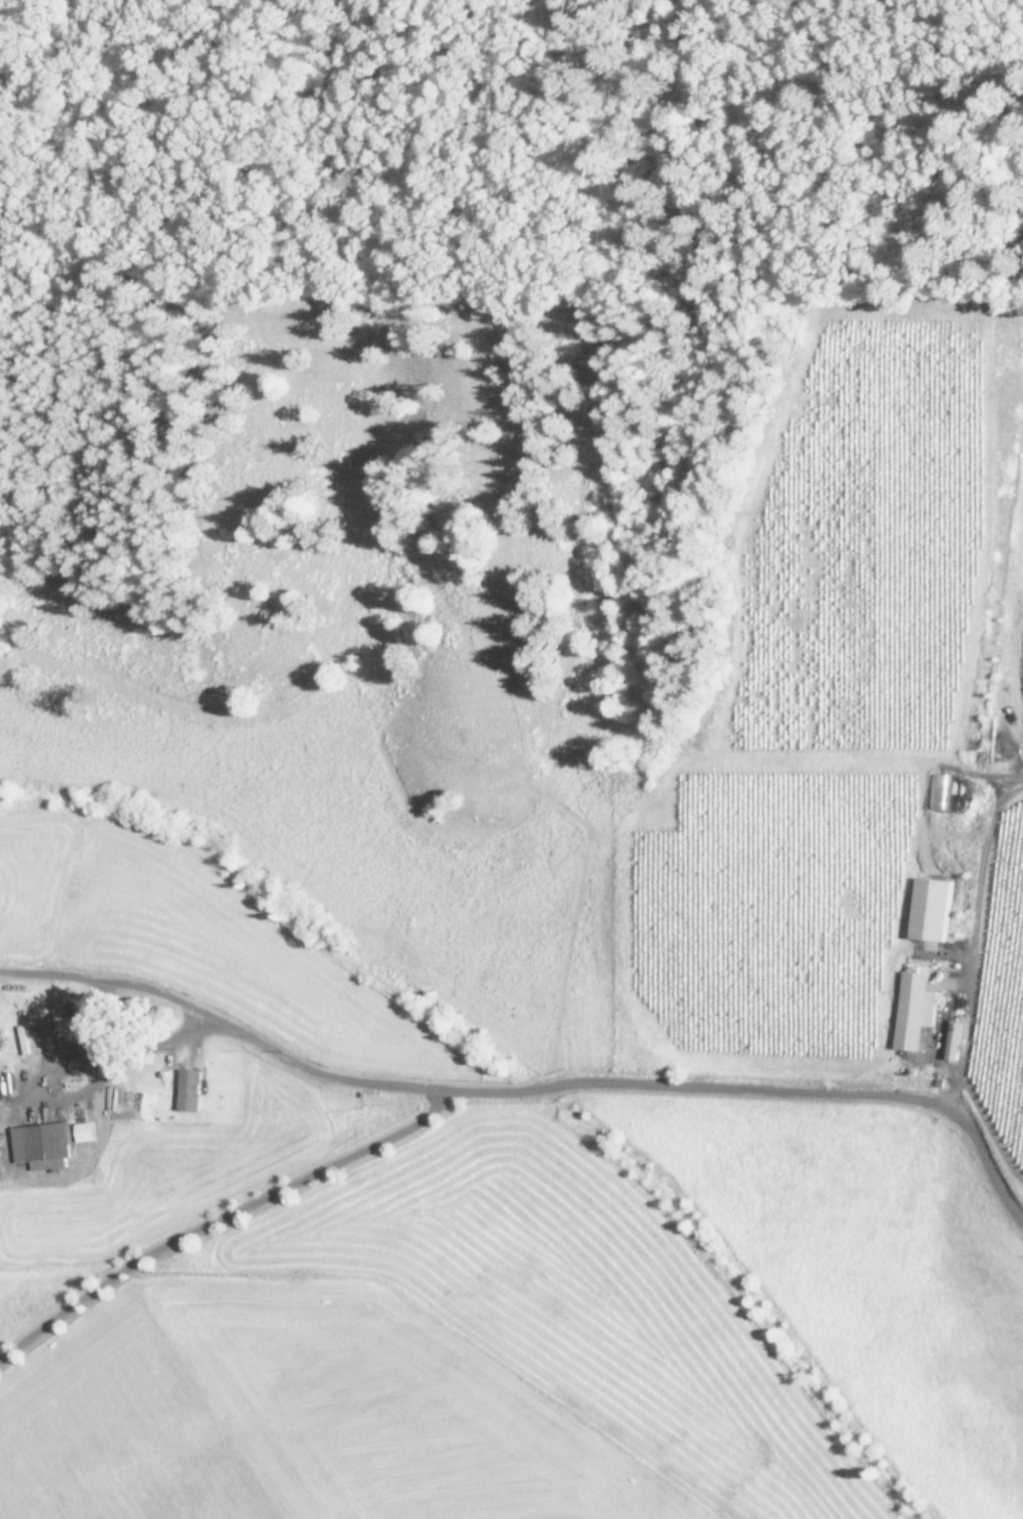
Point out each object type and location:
building: (932, 908)
road: (971, 947)
road: (125, 981)
building: (916, 1008)
building: (955, 1039)
road: (590, 1079)
building: (191, 1089)
road: (46, 1091)
road: (988, 1127)
building: (88, 1130)
building: (45, 1144)
road: (218, 1216)

